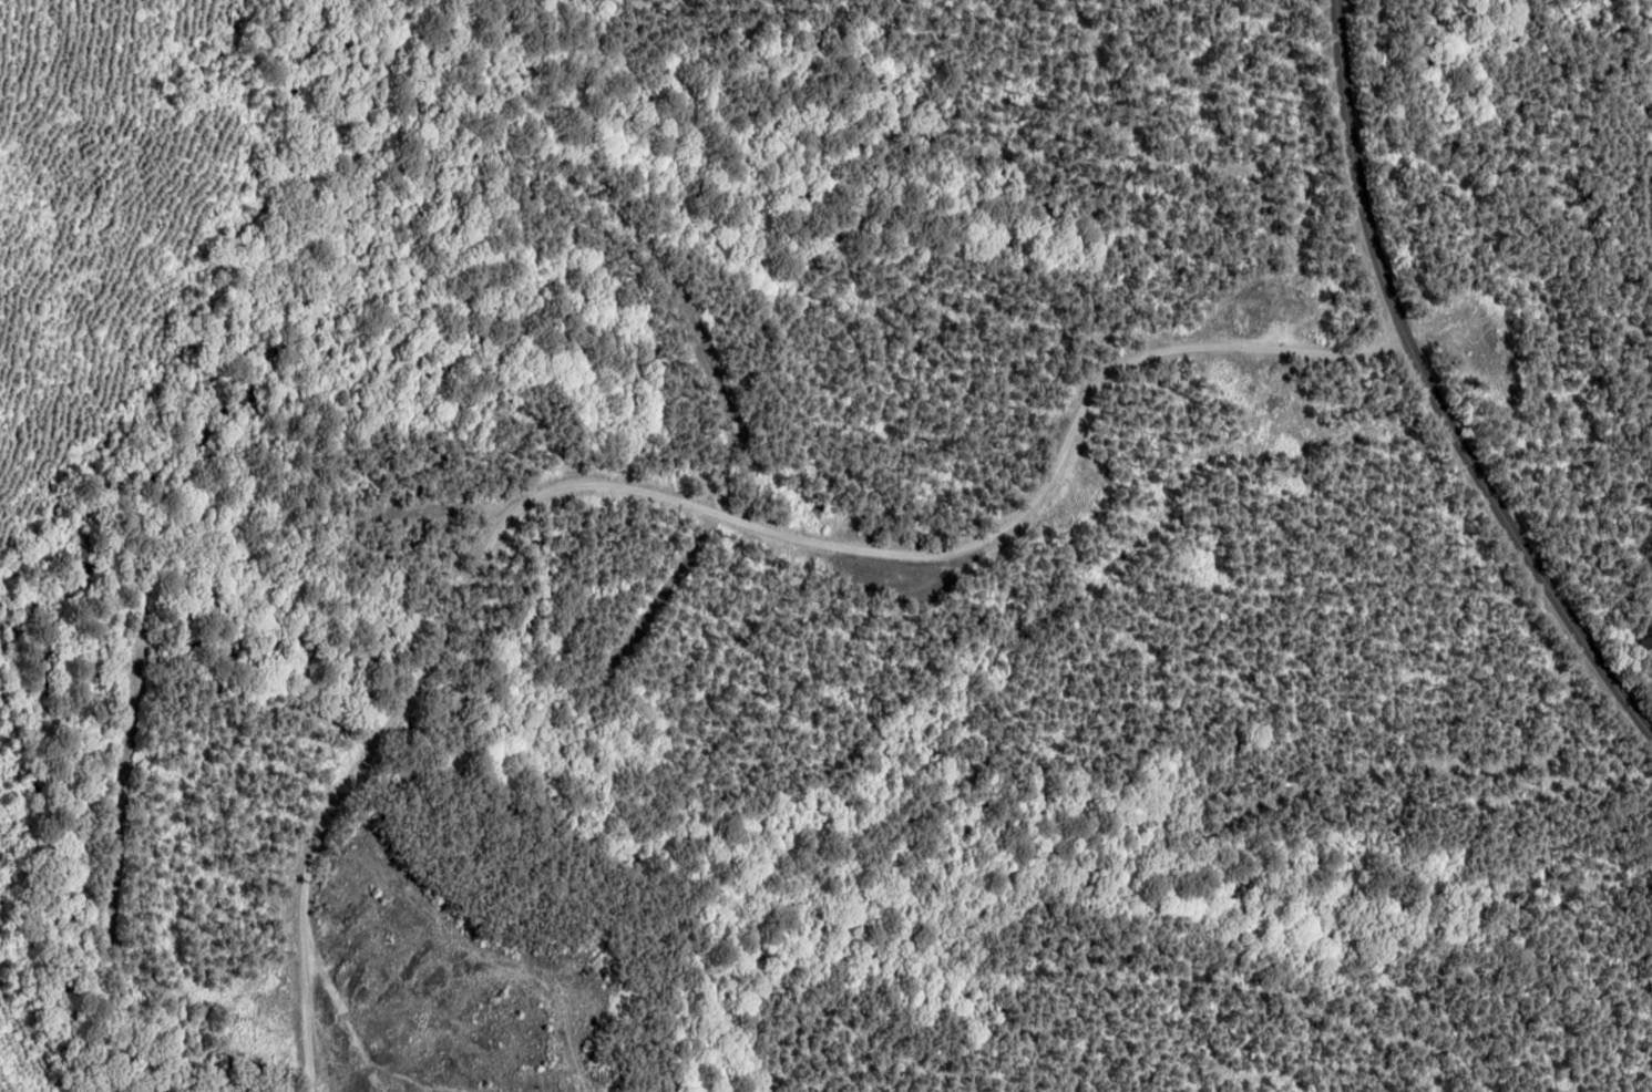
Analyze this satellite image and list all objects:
road: (1412, 412)

